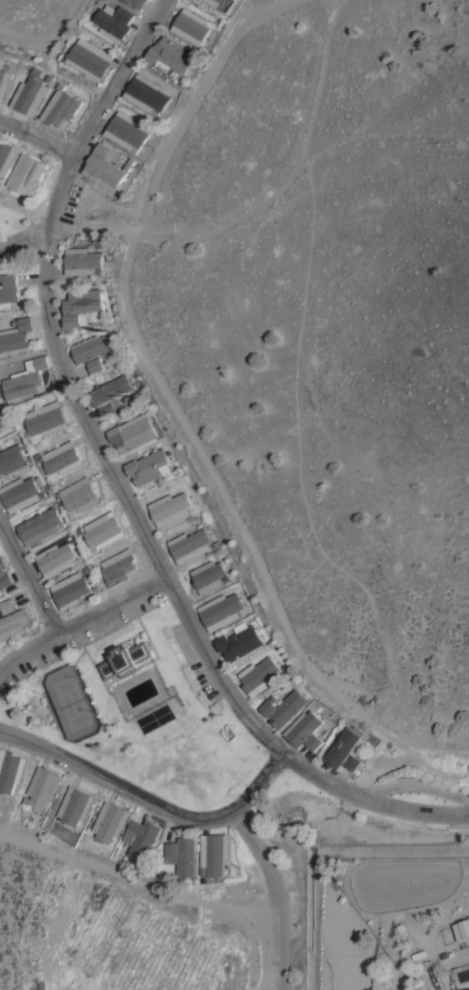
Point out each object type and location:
building: (137, 2)
building: (218, 3)
building: (113, 20)
building: (191, 26)
building: (171, 55)
building: (89, 58)
building: (4, 83)
building: (146, 93)
building: (29, 95)
building: (60, 107)
building: (127, 130)
road: (35, 139)
building: (7, 156)
building: (105, 166)
building: (29, 173)
building: (0, 231)
road: (23, 237)
building: (83, 261)
building: (8, 289)
building: (81, 306)
building: (16, 335)
building: (91, 346)
building: (95, 364)
building: (27, 380)
building: (110, 393)
building: (2, 417)
building: (47, 418)
building: (0, 428)
building: (132, 431)
building: (61, 457)
building: (12, 459)
building: (148, 466)
road: (119, 478)
building: (21, 493)
building: (79, 494)
building: (169, 508)
building: (40, 525)
building: (104, 529)
building: (189, 544)
building: (56, 558)
building: (120, 566)
building: (4, 573)
building: (209, 575)
road: (26, 581)
building: (71, 588)
building: (7, 605)
building: (221, 610)
road: (85, 620)
building: (14, 623)
building: (238, 641)
building: (125, 659)
building: (260, 675)
building: (284, 706)
building: (303, 726)
building: (315, 741)
building: (346, 749)
building: (10, 769)
building: (42, 787)
building: (75, 804)
road: (148, 805)
building: (110, 821)
building: (142, 837)
building: (216, 852)
building: (185, 855)
road: (274, 895)
building: (461, 928)
road: (266, 975)

